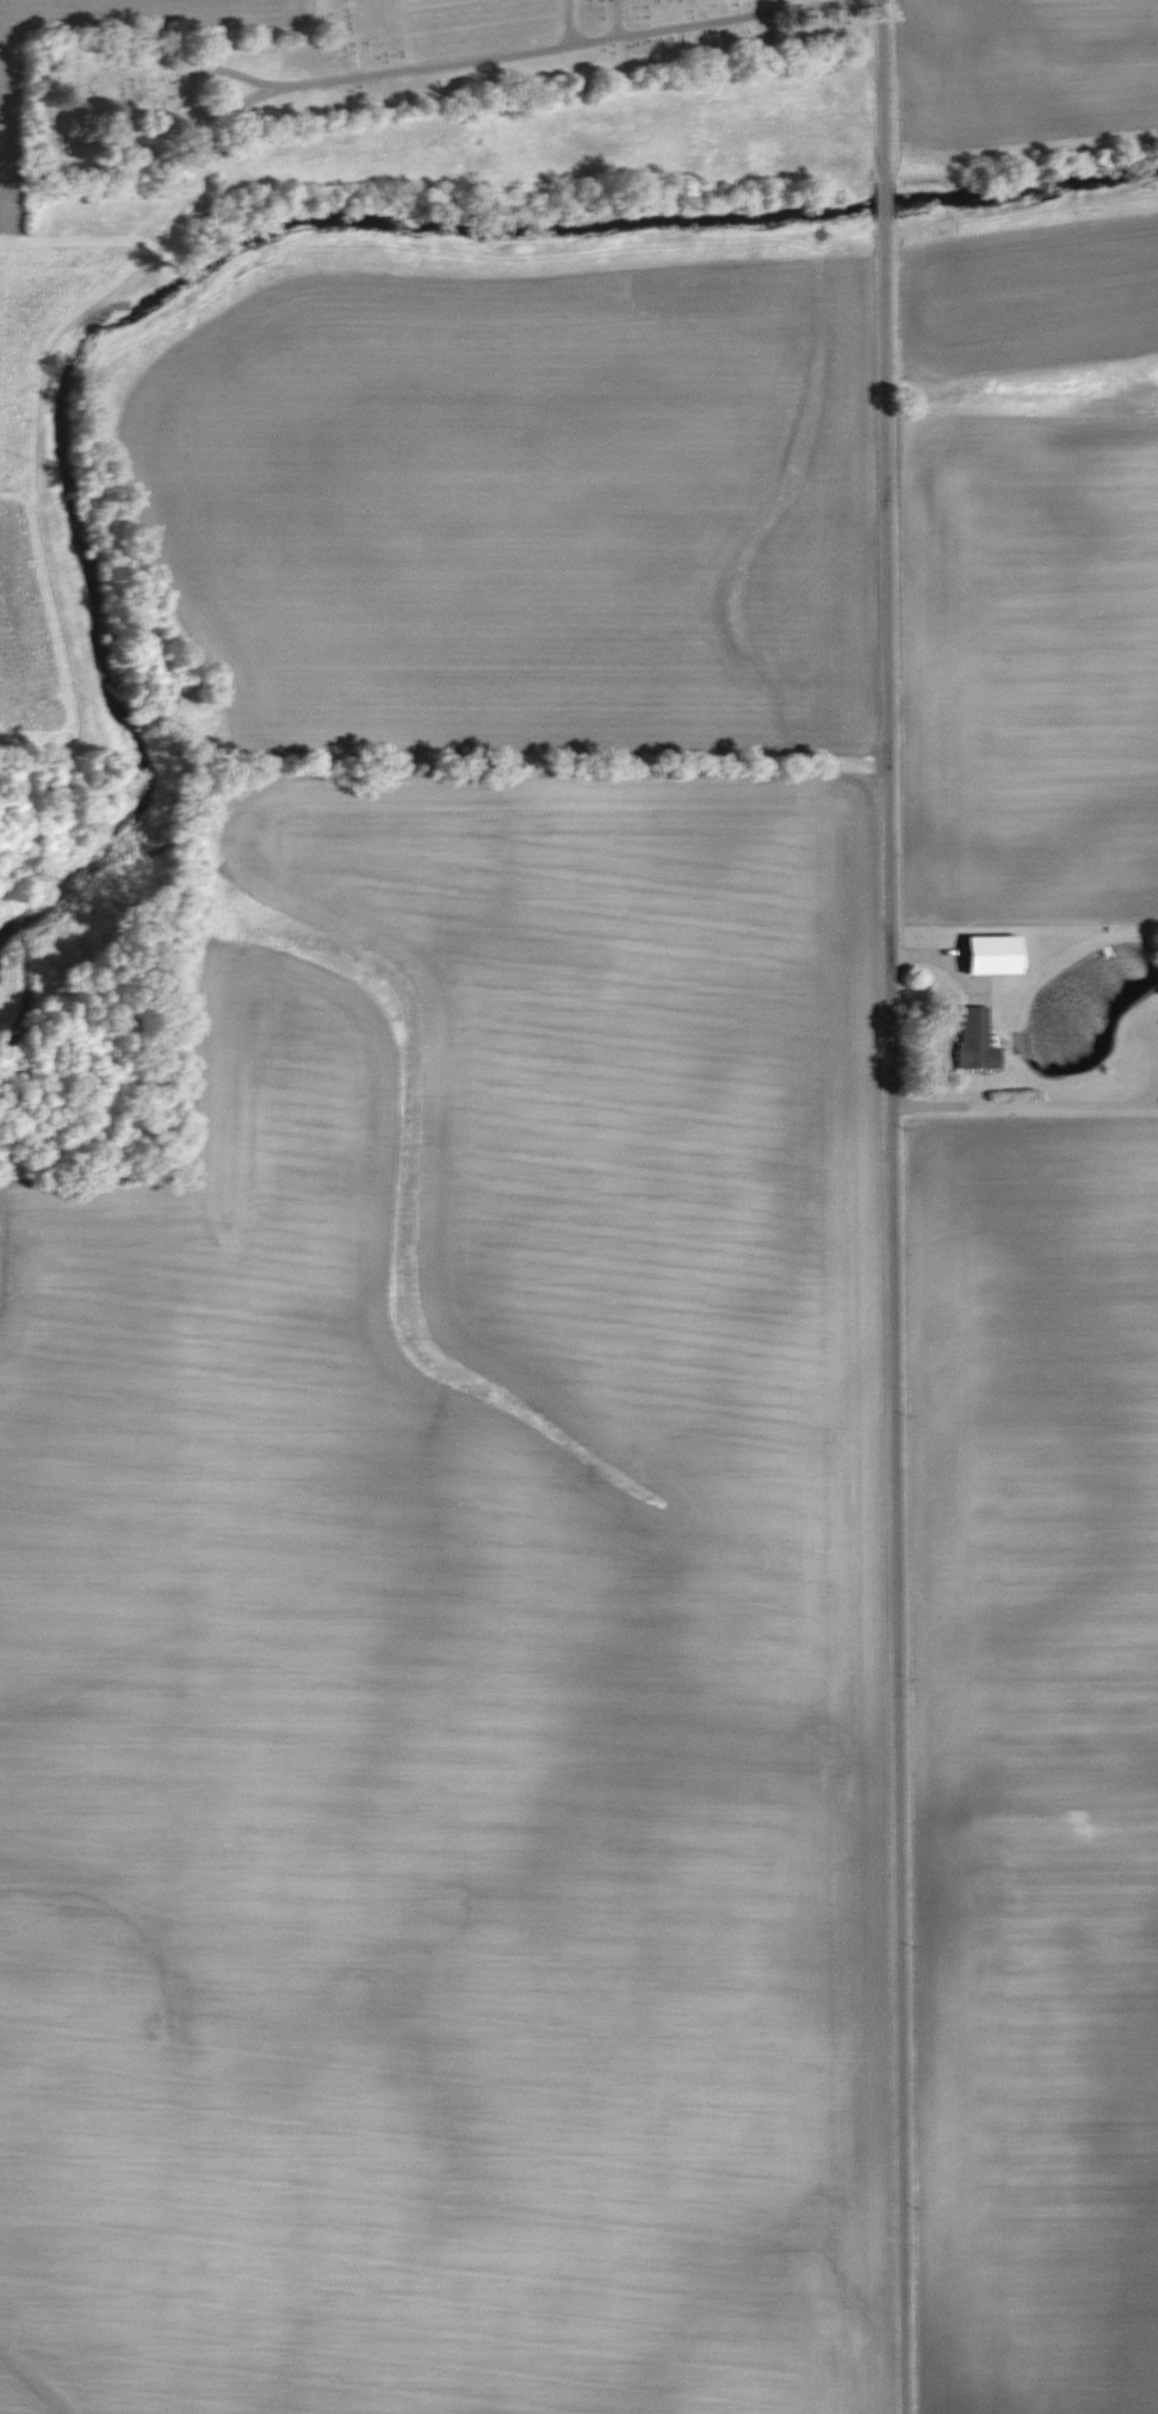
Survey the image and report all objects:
building: (989, 954)
building: (974, 1039)
road: (893, 1207)

